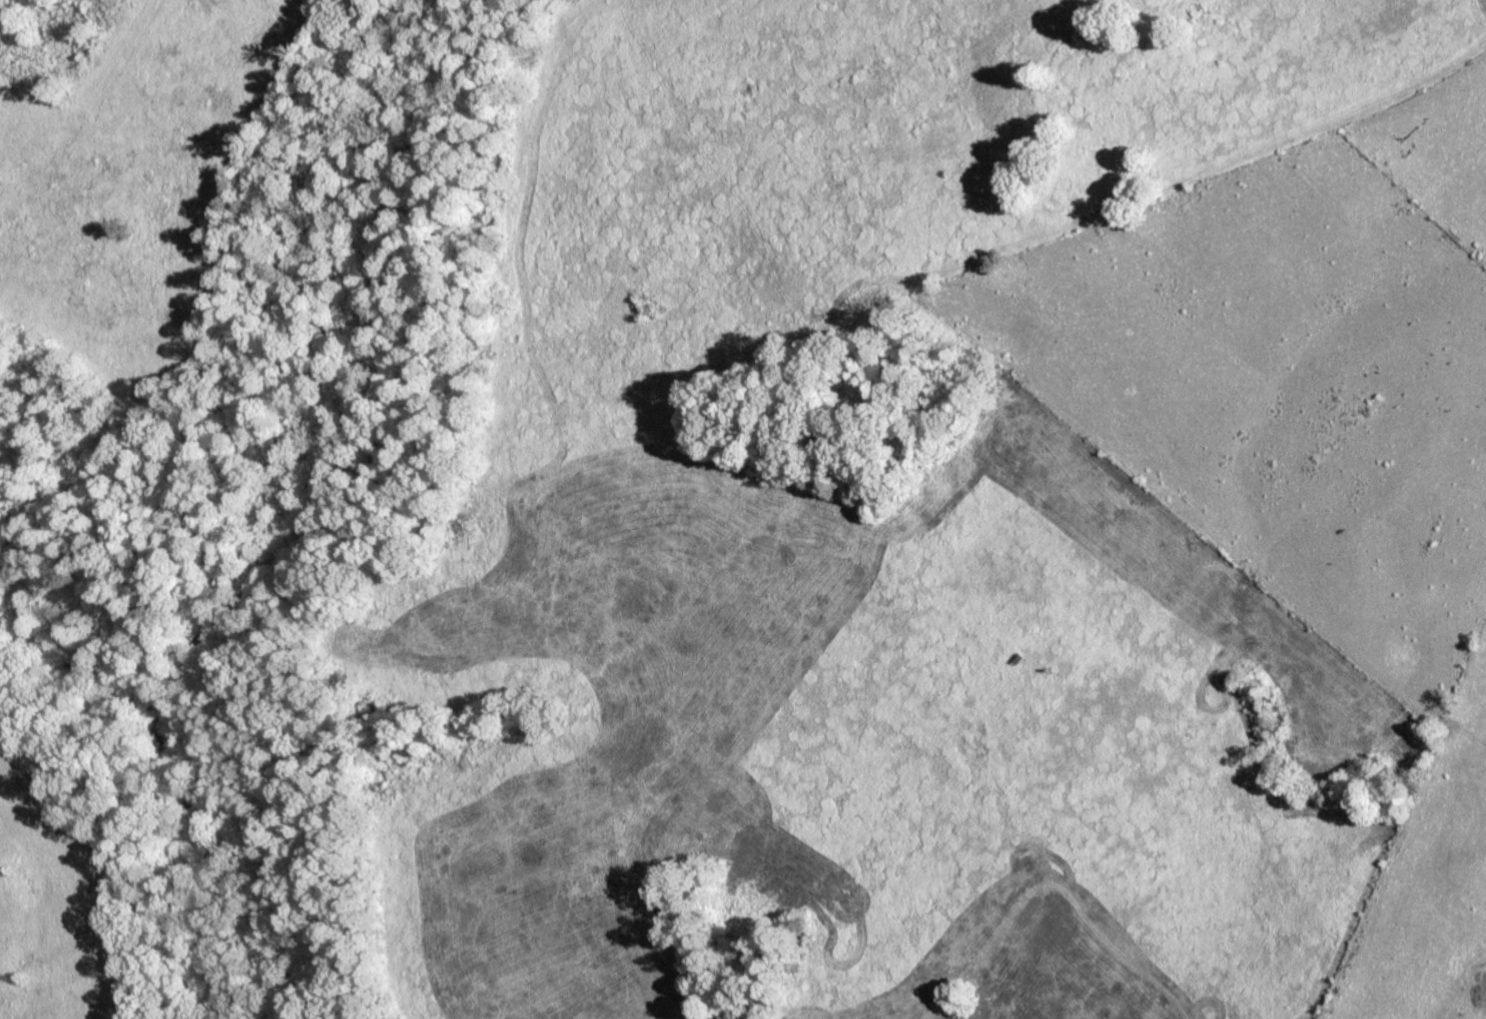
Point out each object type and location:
road: (1285, 755)
road: (1084, 958)

